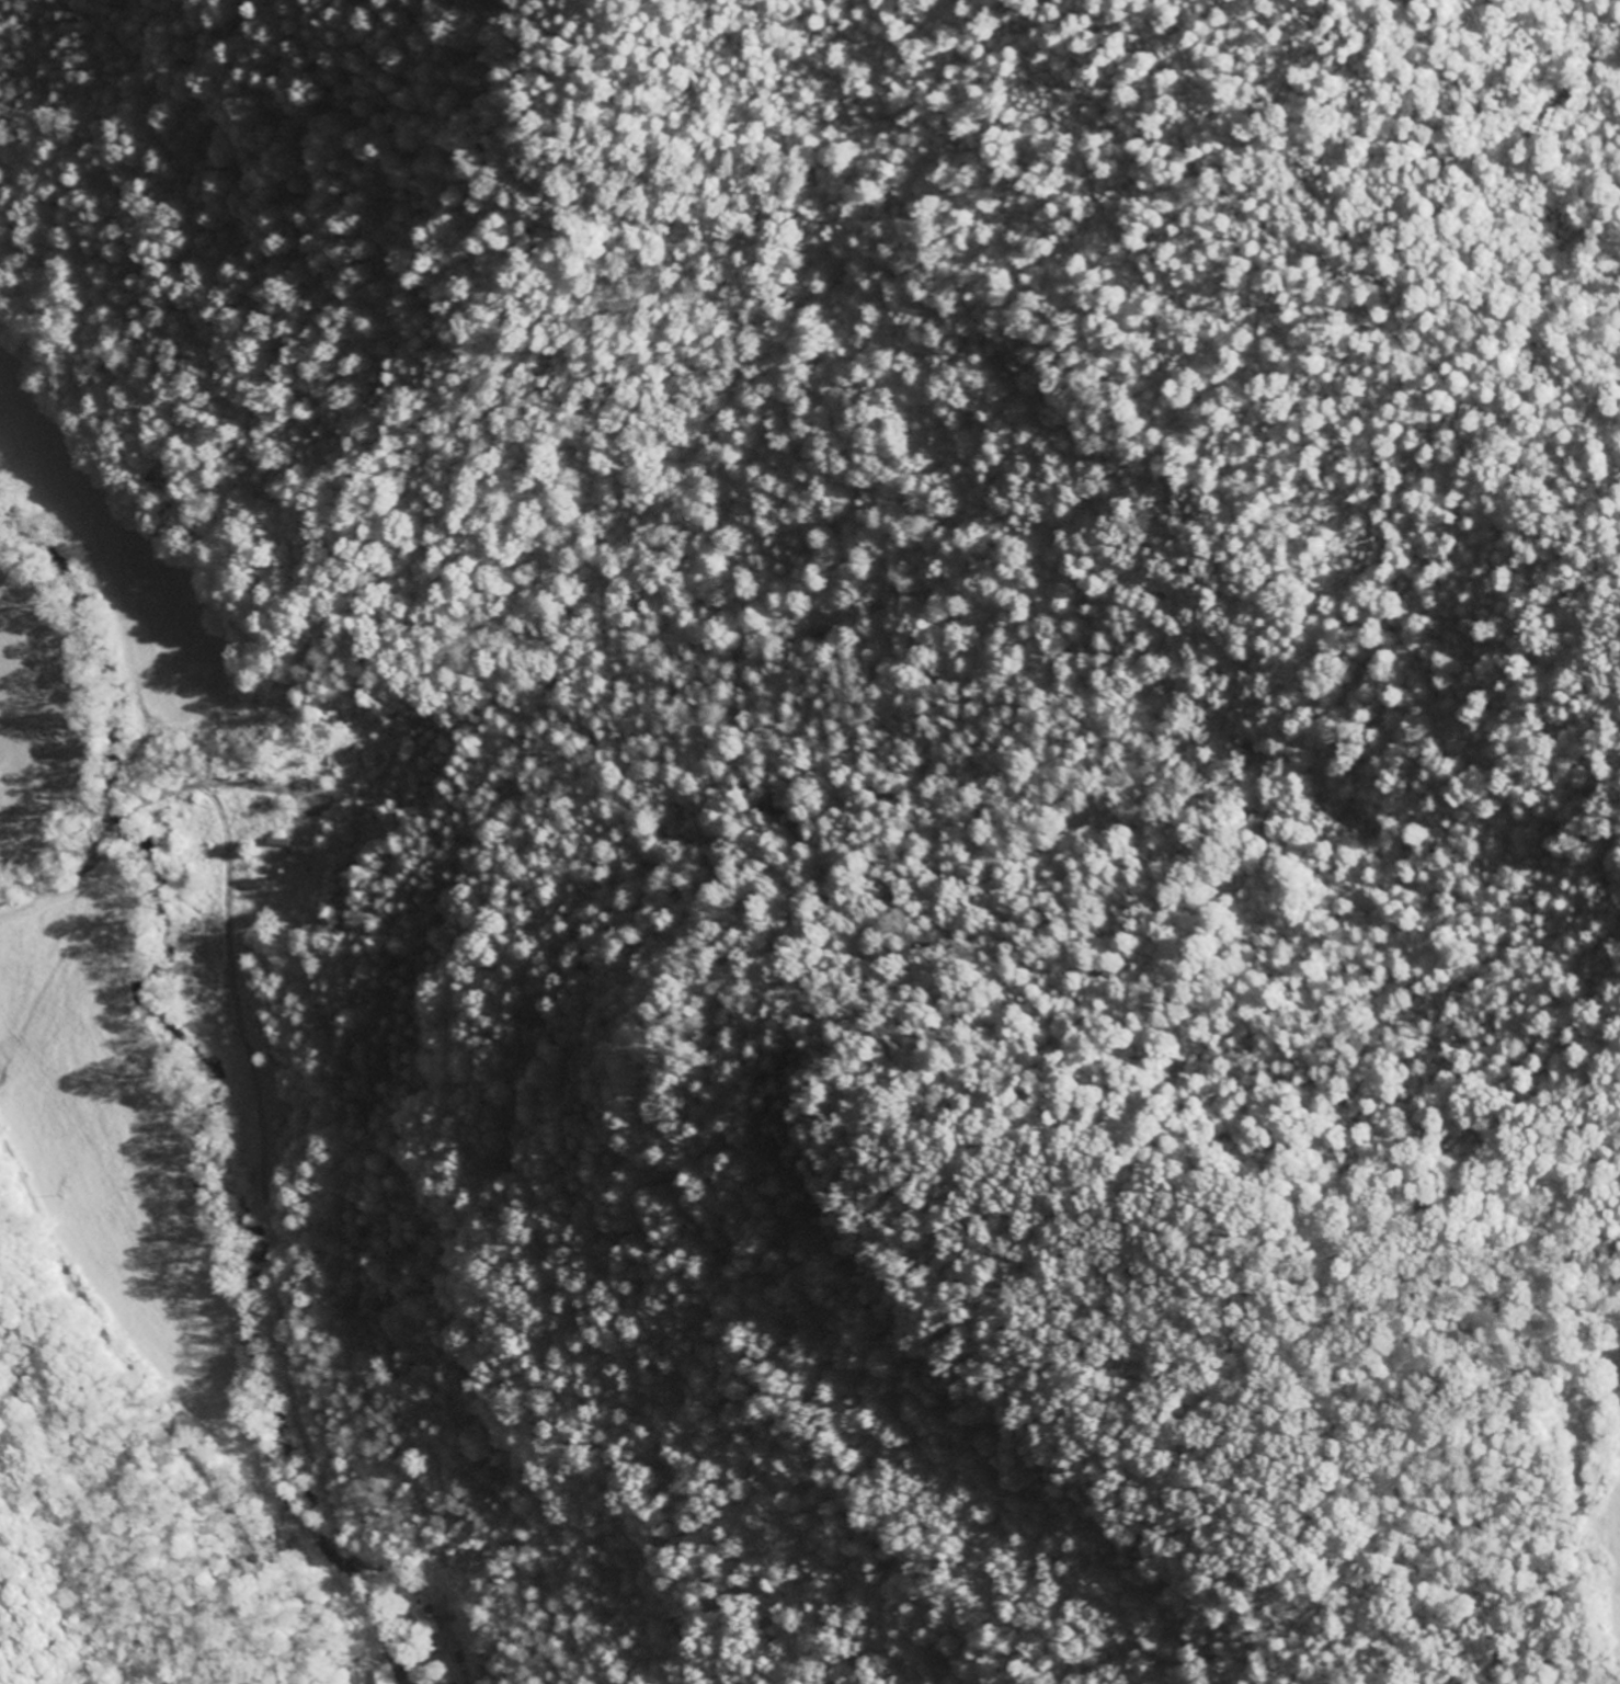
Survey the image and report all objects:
road: (80, 1304)
road: (266, 1554)

